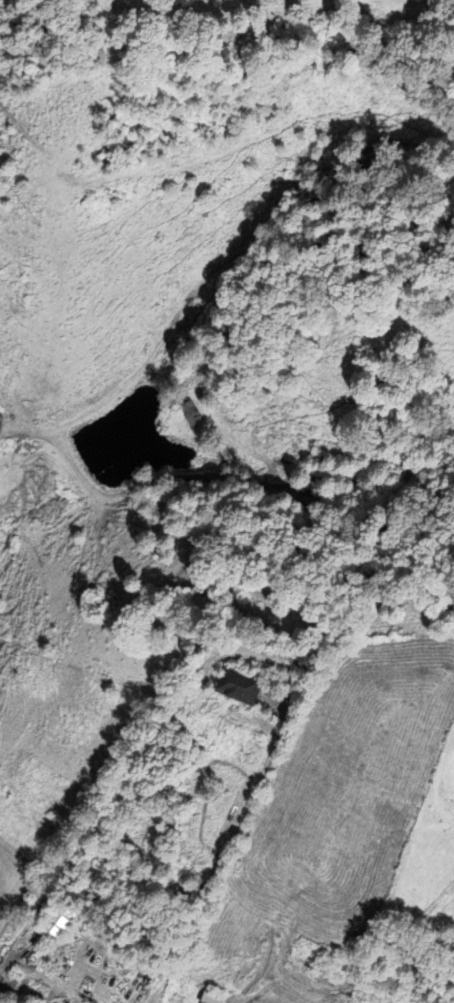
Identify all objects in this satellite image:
building: (188, 414)
building: (238, 684)
road: (161, 893)
building: (60, 918)
building: (212, 997)

